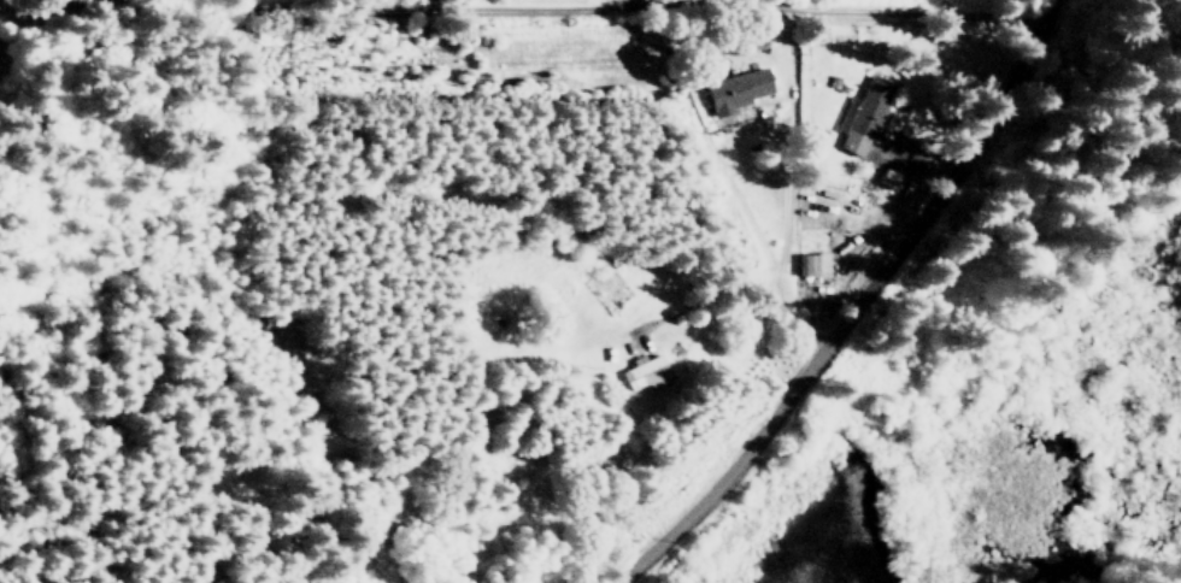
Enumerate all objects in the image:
road: (912, 23)
building: (735, 89)
building: (866, 114)
building: (888, 178)
building: (811, 264)
road: (852, 308)
building: (644, 373)

